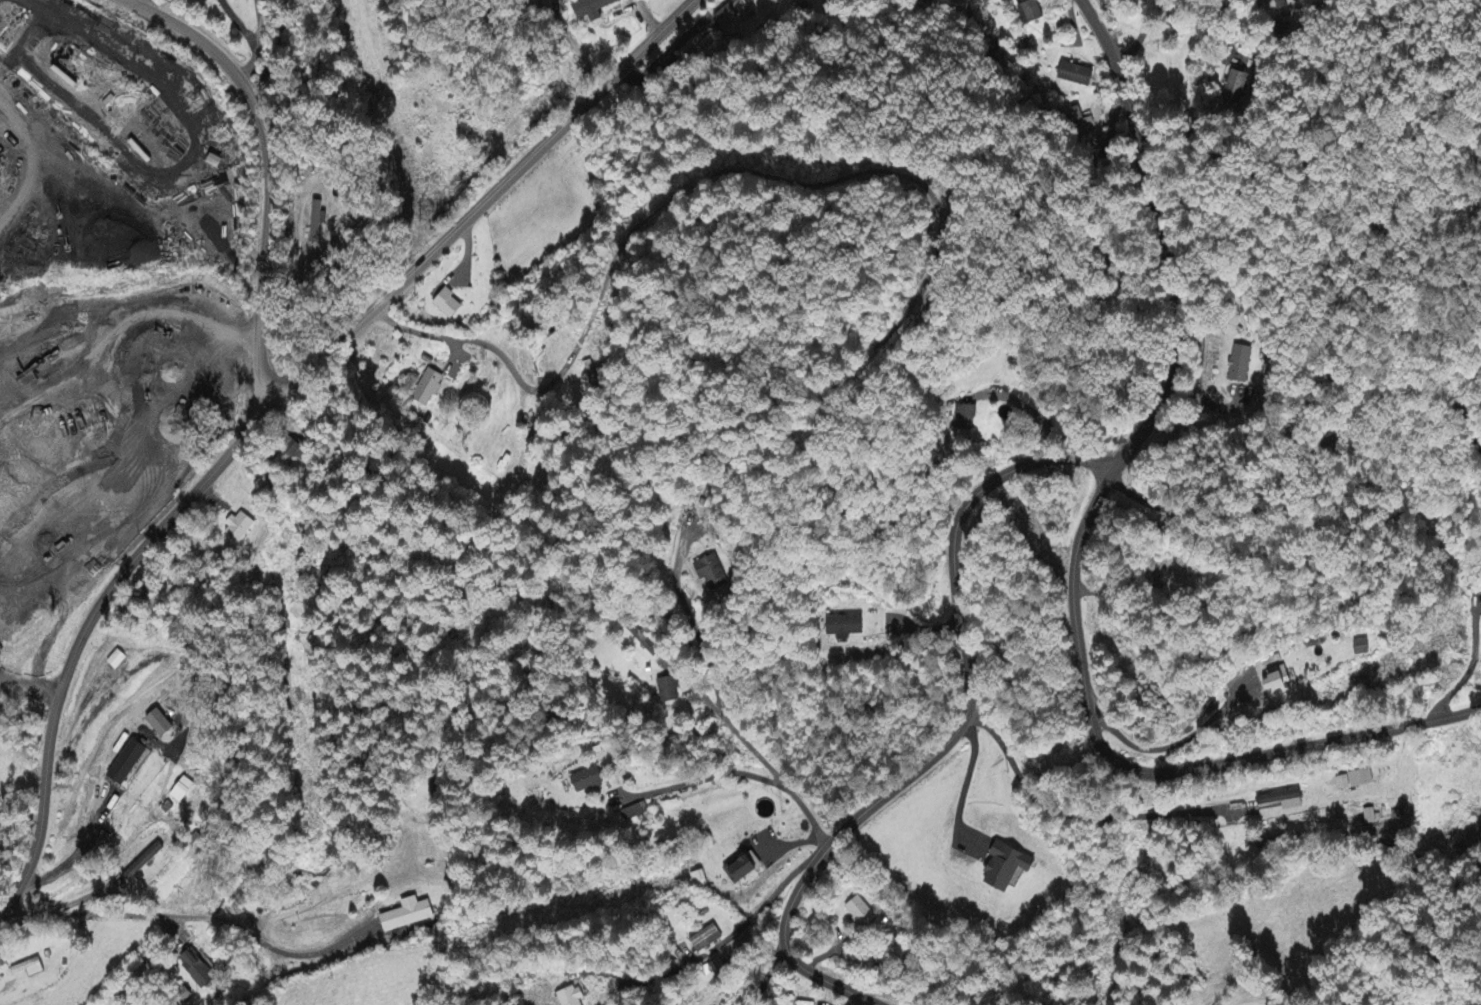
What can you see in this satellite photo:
building: (1278, 5)
building: (588, 9)
building: (1029, 12)
road: (646, 19)
road: (1142, 36)
road: (255, 40)
building: (1074, 75)
building: (1234, 85)
building: (1078, 117)
road: (269, 171)
road: (505, 178)
building: (320, 221)
building: (449, 305)
building: (1241, 365)
road: (1162, 383)
building: (429, 388)
building: (962, 419)
building: (242, 528)
building: (712, 575)
road: (98, 604)
building: (843, 628)
building: (117, 660)
road: (21, 679)
building: (1272, 682)
building: (670, 691)
road: (29, 693)
building: (162, 725)
road: (952, 735)
road: (1297, 746)
building: (129, 763)
building: (1352, 781)
building: (589, 782)
building: (184, 791)
building: (1278, 801)
building: (1000, 868)
building: (744, 870)
building: (860, 914)
road: (175, 916)
building: (408, 916)
road: (739, 924)
building: (708, 940)
building: (29, 969)
building: (198, 971)
building: (574, 997)

